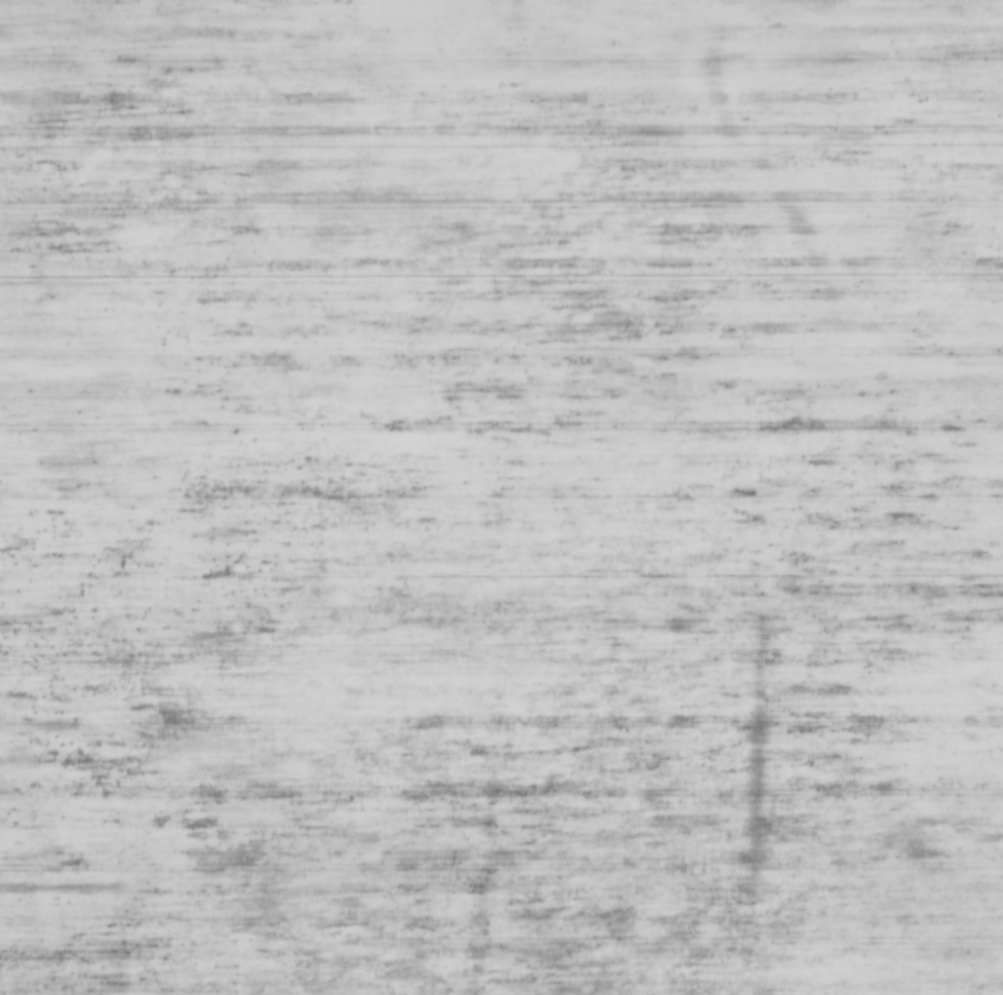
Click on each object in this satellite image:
crop: (501, 497)

